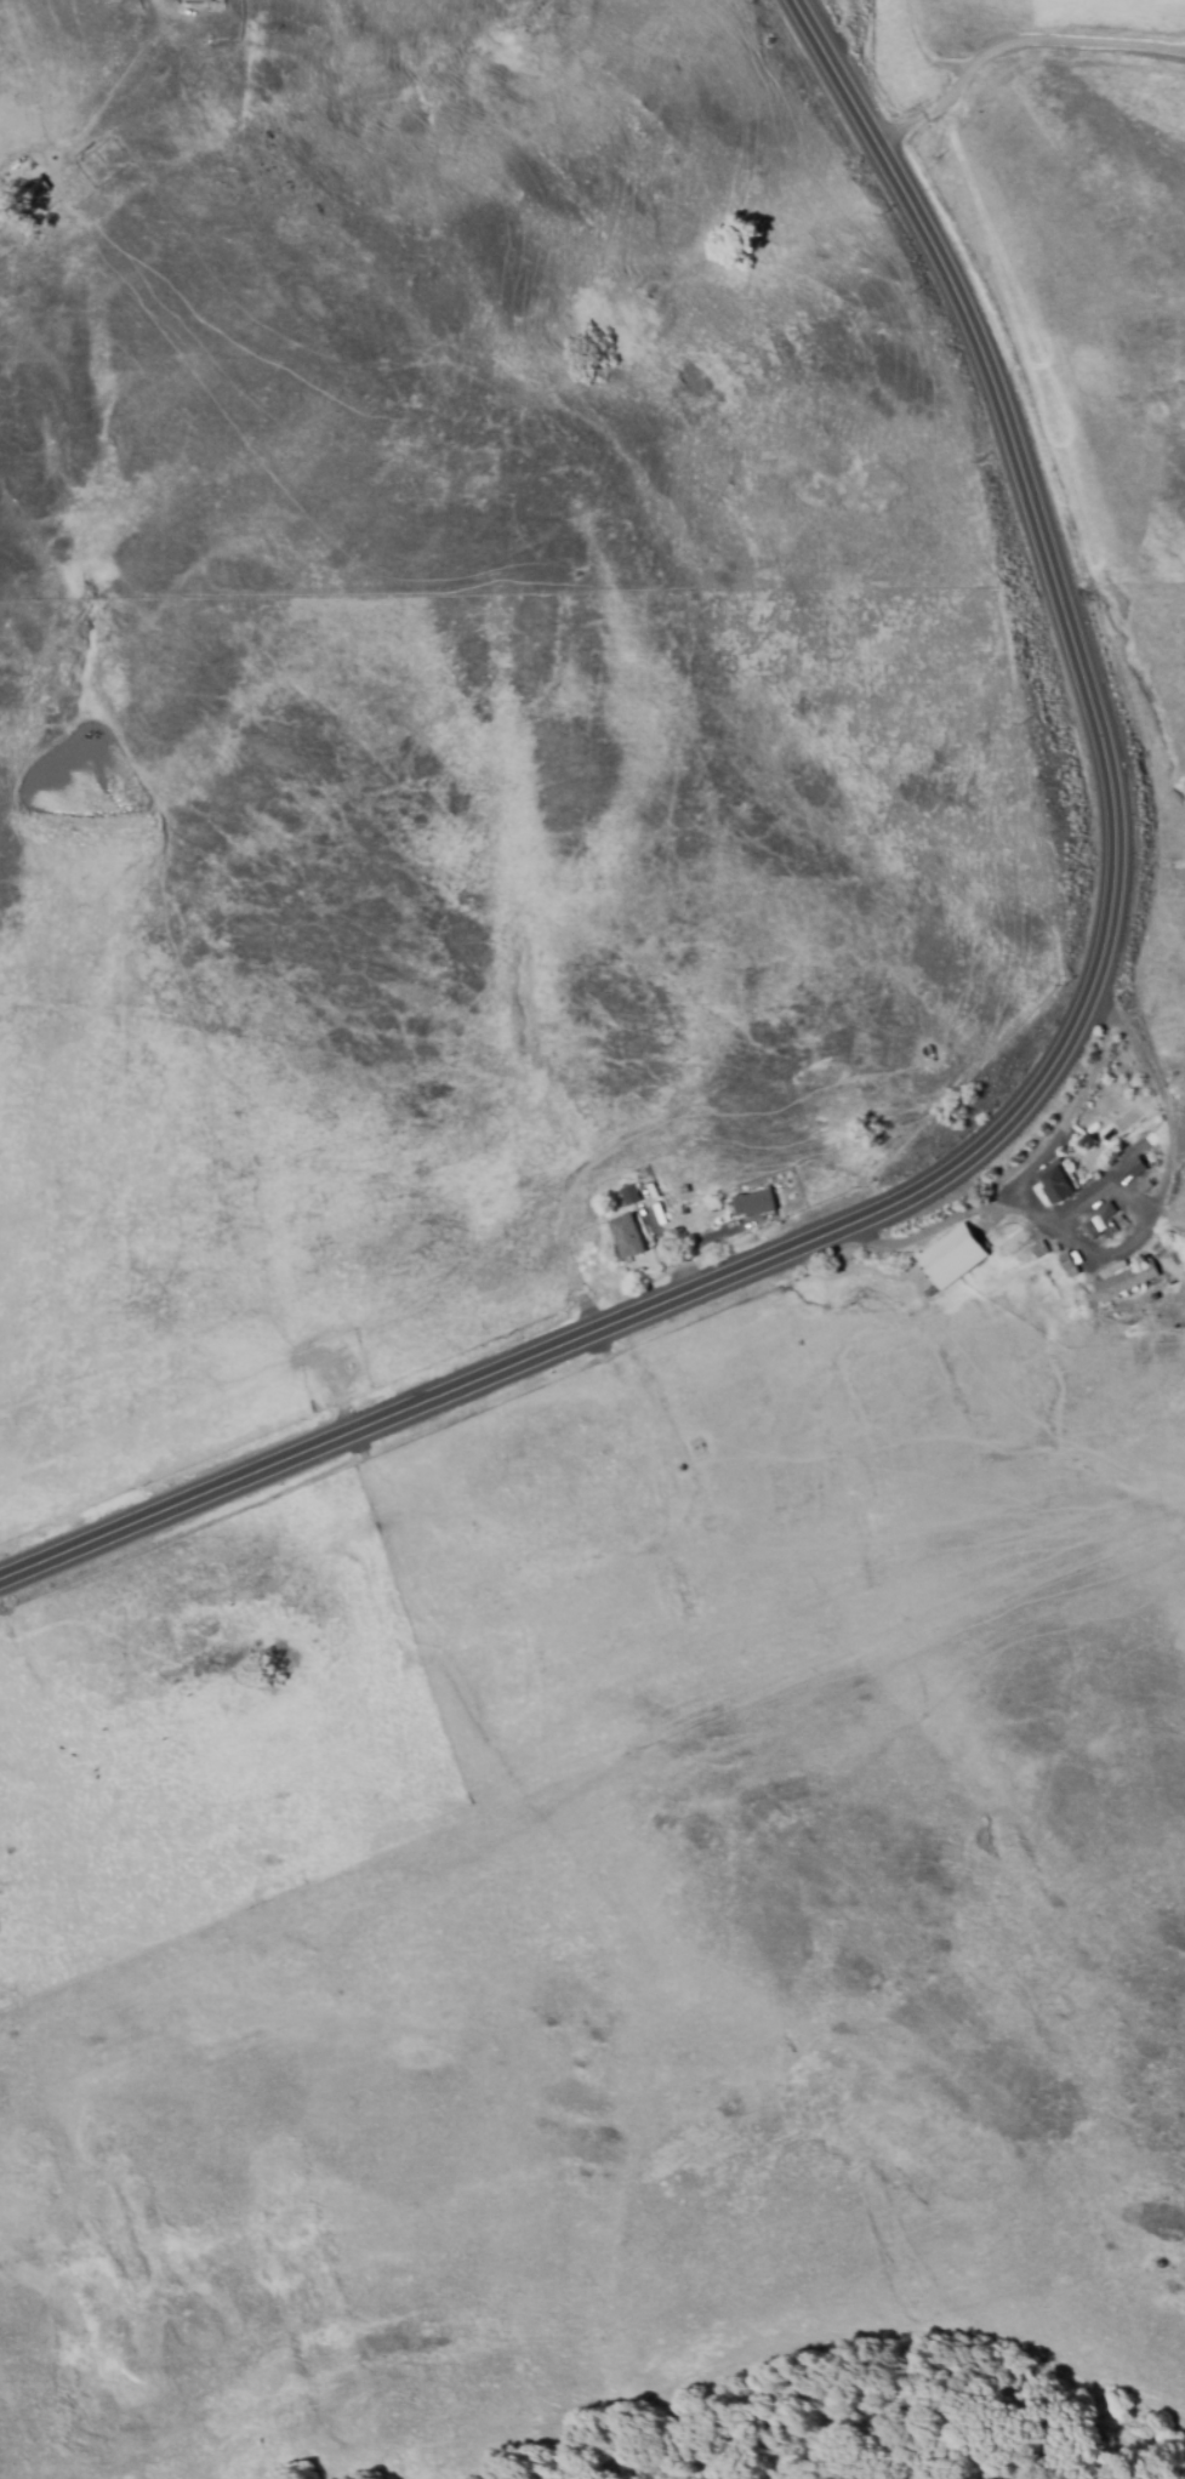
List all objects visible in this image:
building: (207, 2)
road: (1070, 40)
road: (921, 50)
road: (928, 113)
building: (39, 188)
building: (34, 235)
road: (1133, 1035)
road: (1048, 1082)
road: (1070, 1115)
building: (1136, 1168)
building: (1056, 1186)
road: (1098, 1192)
building: (629, 1196)
building: (759, 1204)
building: (1106, 1212)
building: (1090, 1231)
building: (627, 1237)
road: (1072, 1238)
building: (1041, 1250)
building: (953, 1258)
building: (1070, 1266)
building: (1127, 1282)

